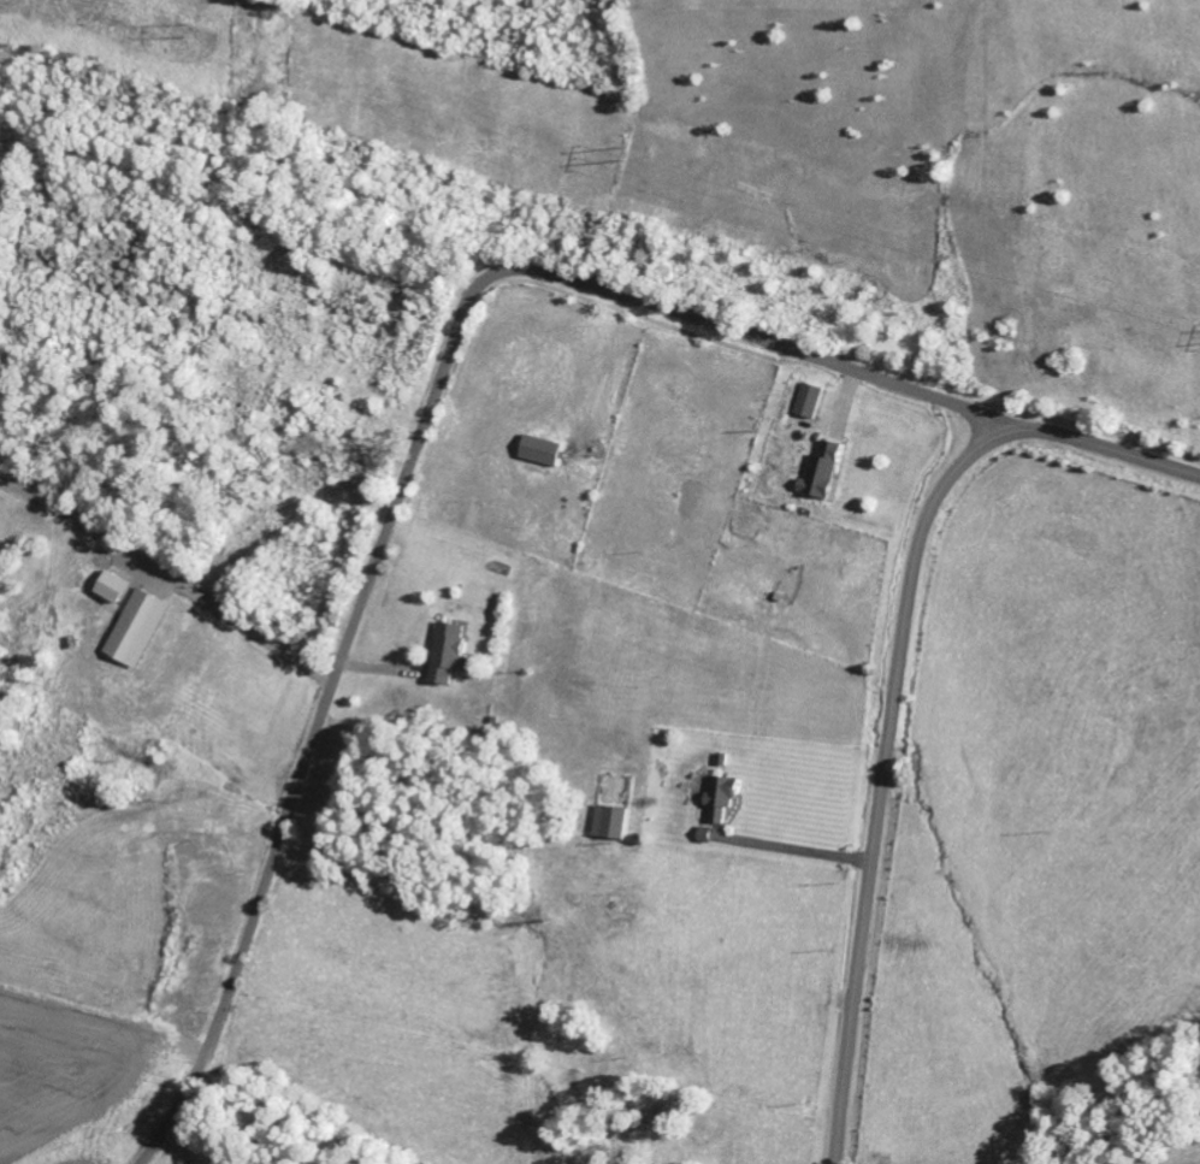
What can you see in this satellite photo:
power tower: (189, 31)
power tower: (648, 161)
building: (810, 401)
building: (543, 450)
road: (414, 454)
building: (823, 471)
building: (112, 587)
building: (140, 628)
building: (449, 652)
road: (893, 681)
building: (721, 797)
building: (611, 822)

